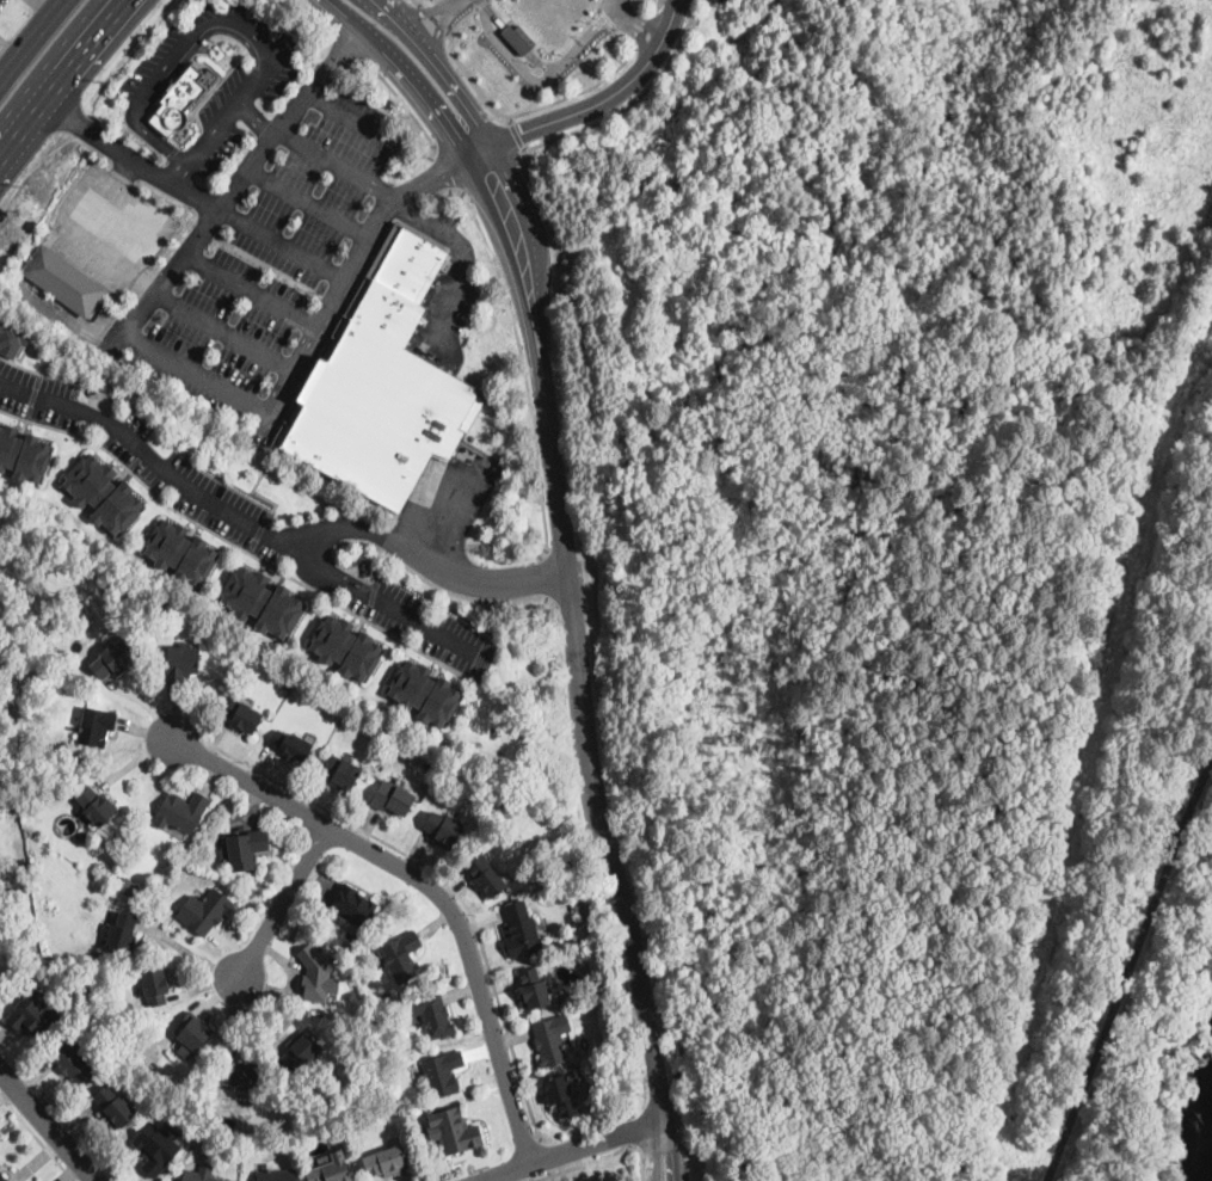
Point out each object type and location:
road: (480, 2)
road: (484, 2)
road: (419, 4)
road: (451, 4)
road: (599, 5)
road: (614, 5)
road: (50, 6)
road: (656, 6)
road: (418, 11)
road: (673, 14)
road: (607, 17)
road: (321, 18)
road: (435, 18)
road: (640, 19)
road: (646, 29)
road: (634, 30)
road: (449, 32)
road: (437, 33)
road: (517, 38)
road: (33, 41)
road: (660, 42)
road: (197, 45)
road: (610, 47)
road: (349, 49)
road: (6, 60)
road: (168, 63)
road: (438, 70)
road: (406, 76)
road: (541, 76)
road: (66, 81)
building: (184, 97)
road: (407, 109)
road: (232, 111)
road: (573, 112)
road: (511, 113)
road: (507, 117)
road: (258, 118)
road: (351, 121)
road: (597, 123)
road: (516, 134)
road: (527, 149)
road: (131, 158)
road: (178, 174)
road: (444, 174)
road: (240, 180)
road: (500, 199)
road: (310, 202)
road: (414, 210)
road: (282, 245)
road: (353, 266)
building: (63, 281)
road: (253, 289)
road: (223, 334)
building: (12, 338)
road: (522, 351)
road: (51, 375)
road: (195, 377)
building: (382, 385)
road: (32, 395)
building: (23, 453)
road: (253, 486)
building: (104, 493)
road: (242, 519)
road: (259, 530)
road: (236, 546)
building: (180, 550)
road: (430, 564)
road: (553, 577)
park: (922, 580)
road: (436, 584)
building: (262, 601)
building: (346, 646)
building: (51, 652)
building: (111, 660)
building: (182, 663)
road: (579, 683)
building: (424, 691)
building: (246, 718)
road: (566, 722)
building: (96, 727)
building: (291, 744)
building: (342, 773)
building: (393, 798)
building: (96, 806)
building: (182, 811)
building: (443, 829)
building: (245, 849)
building: (486, 878)
road: (447, 884)
road: (430, 886)
building: (129, 887)
building: (0, 898)
road: (283, 904)
building: (353, 905)
building: (574, 906)
building: (205, 911)
building: (522, 930)
building: (121, 931)
building: (351, 935)
road: (189, 951)
building: (401, 957)
building: (2, 961)
road: (1128, 970)
building: (316, 974)
building: (155, 986)
building: (533, 990)
building: (430, 1014)
building: (32, 1016)
building: (195, 1032)
building: (550, 1040)
building: (300, 1050)
building: (74, 1060)
building: (443, 1074)
building: (240, 1076)
building: (560, 1095)
building: (115, 1107)
road: (48, 1125)
building: (455, 1131)
building: (204, 1133)
road: (638, 1137)
road: (37, 1138)
building: (156, 1149)
road: (573, 1150)
road: (673, 1150)
road: (654, 1151)
road: (547, 1157)
building: (386, 1162)
road: (644, 1162)
road: (590, 1163)
building: (331, 1171)
building: (276, 1175)
building: (4, 1176)
building: (197, 1176)
building: (607, 1180)

